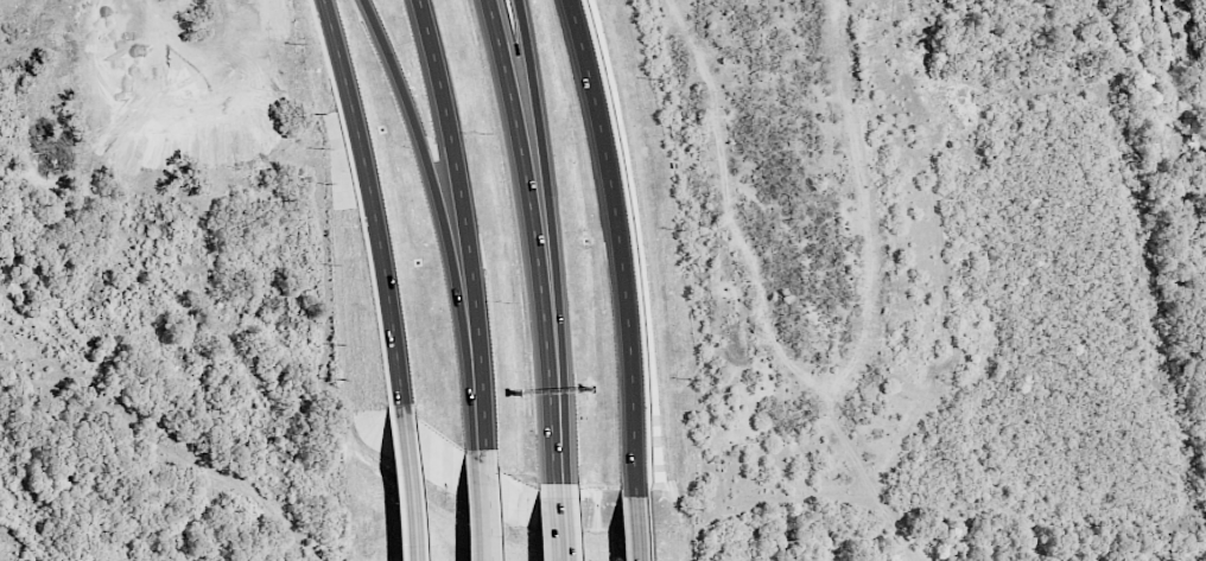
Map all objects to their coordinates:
road: (420, 147)
road: (445, 149)
road: (370, 199)
road: (532, 225)
road: (560, 227)
road: (614, 247)
road: (471, 375)
road: (553, 478)
road: (406, 482)
road: (476, 504)
road: (554, 530)
road: (633, 530)

